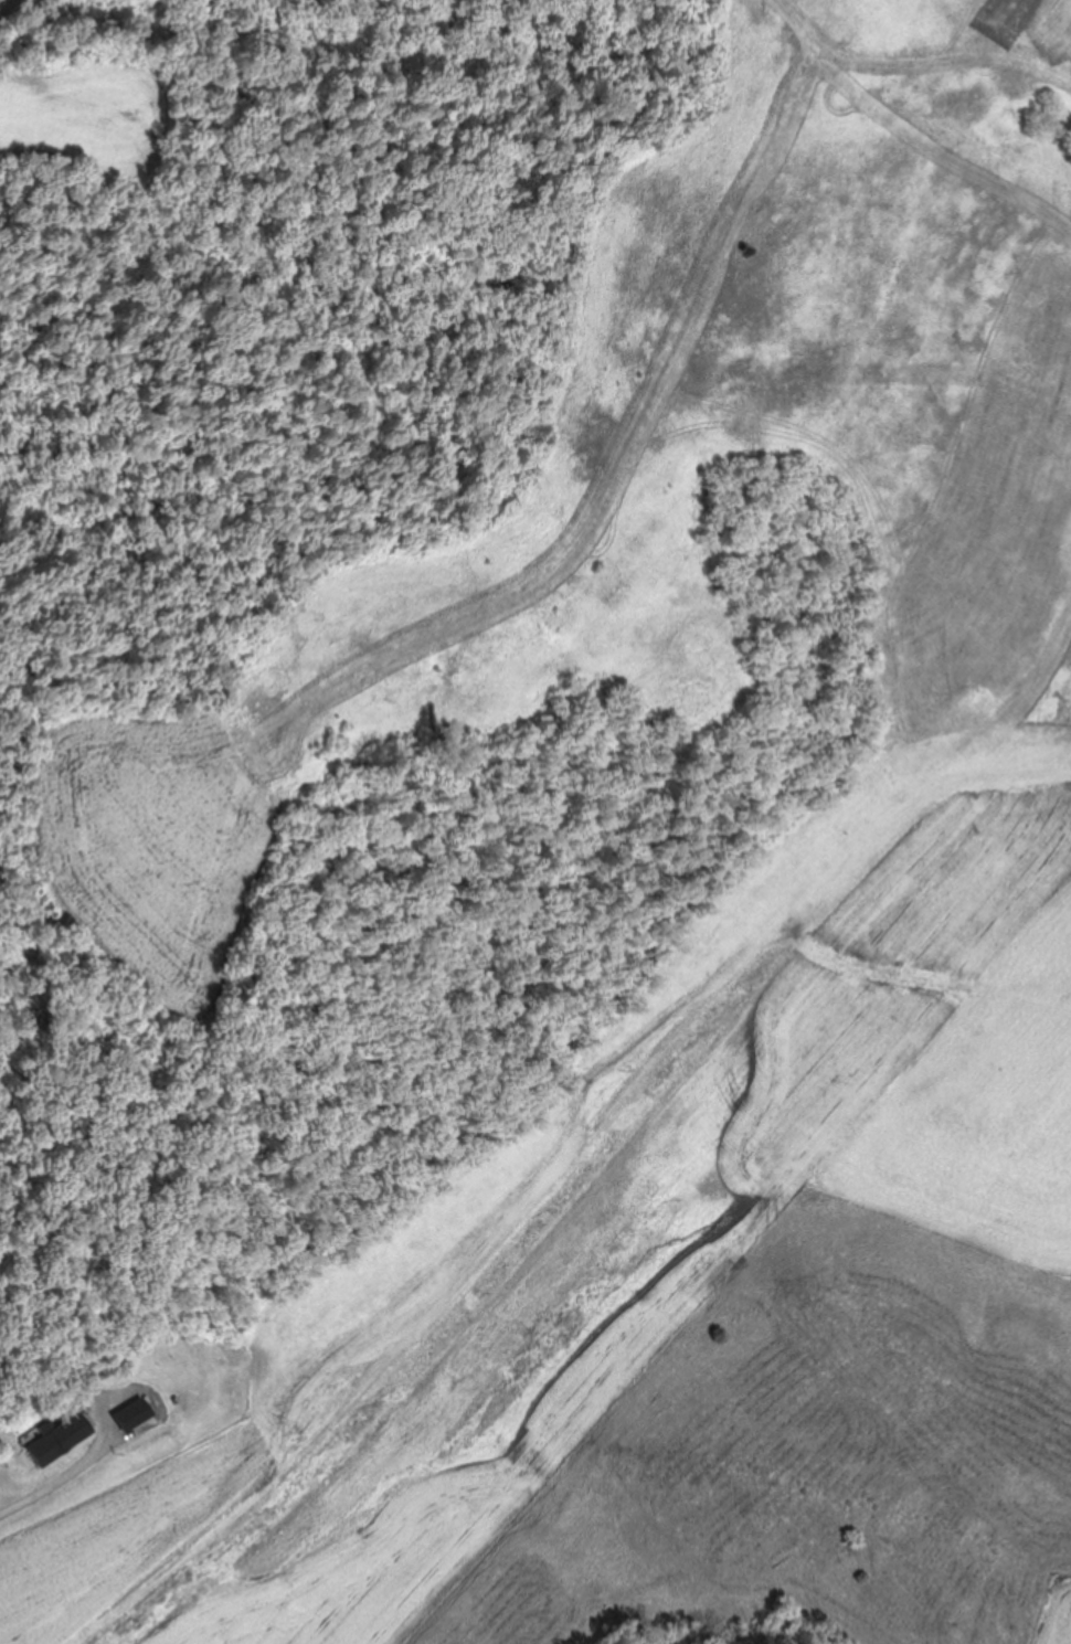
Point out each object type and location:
building: (134, 1412)
building: (60, 1438)
road: (54, 1473)

